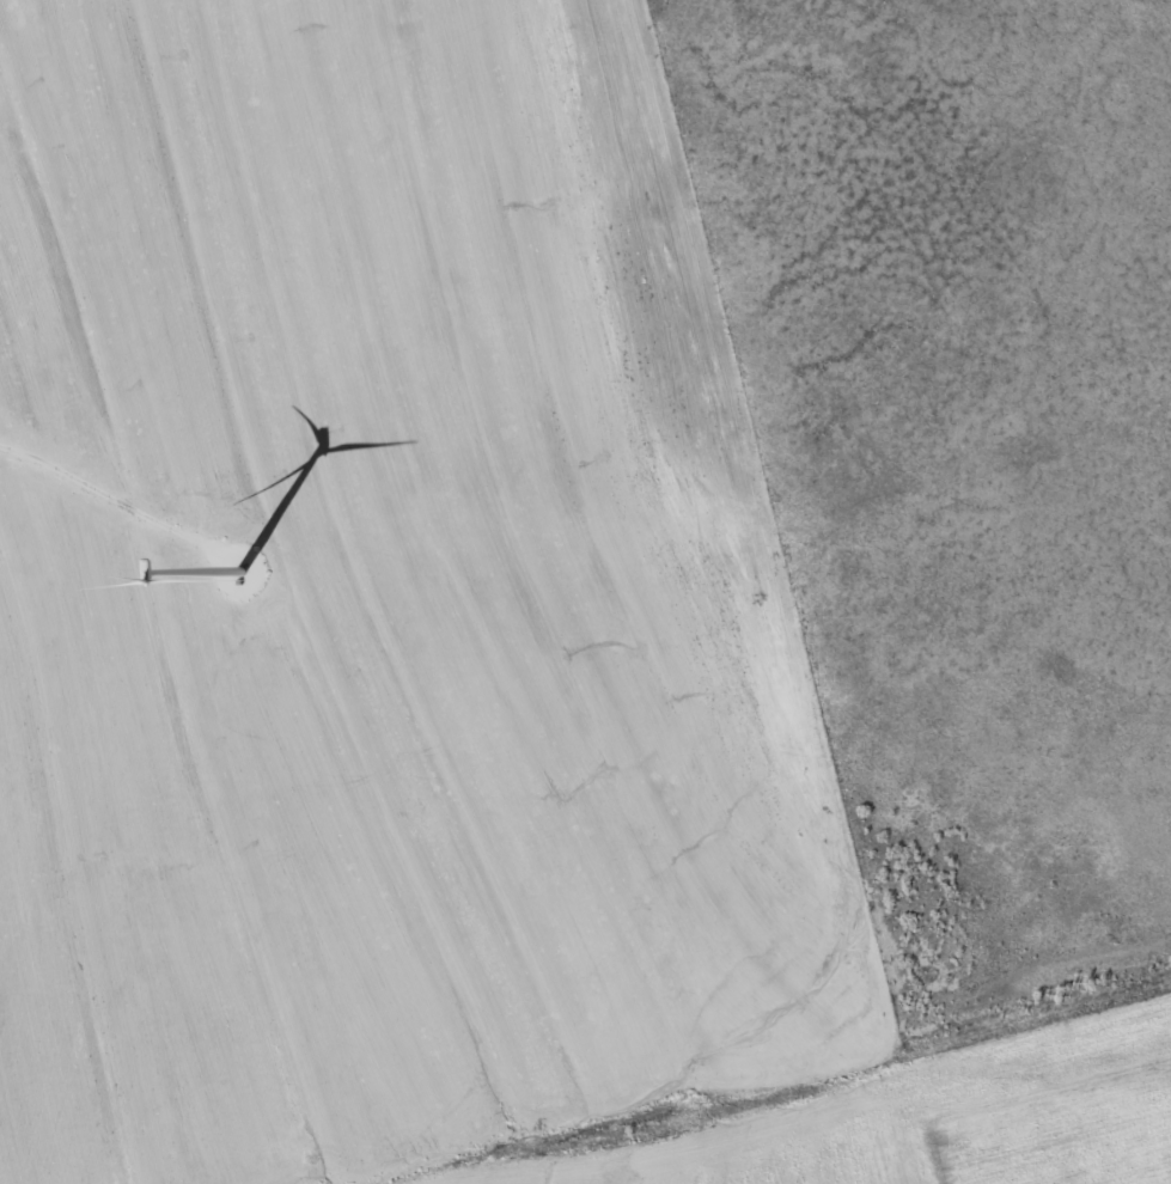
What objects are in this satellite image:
wind turbine: (233, 562)

